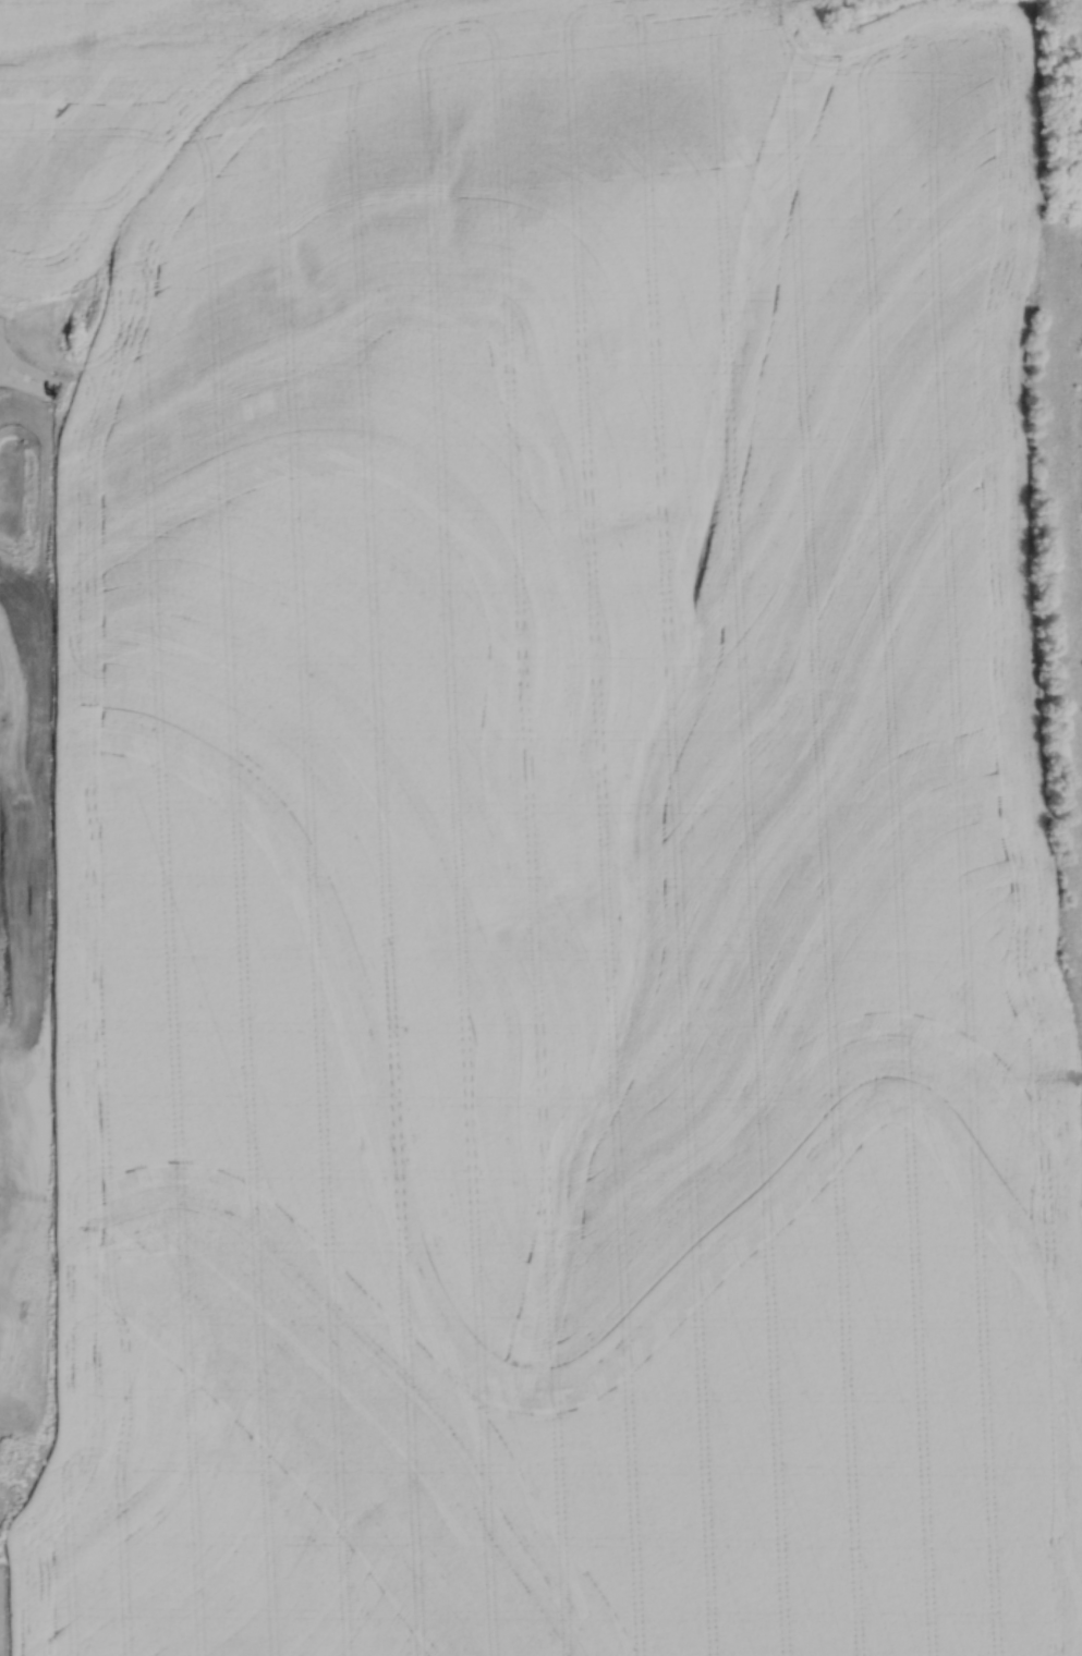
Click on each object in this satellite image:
road: (2, 353)
road: (27, 369)
road: (26, 385)
road: (1078, 1075)

